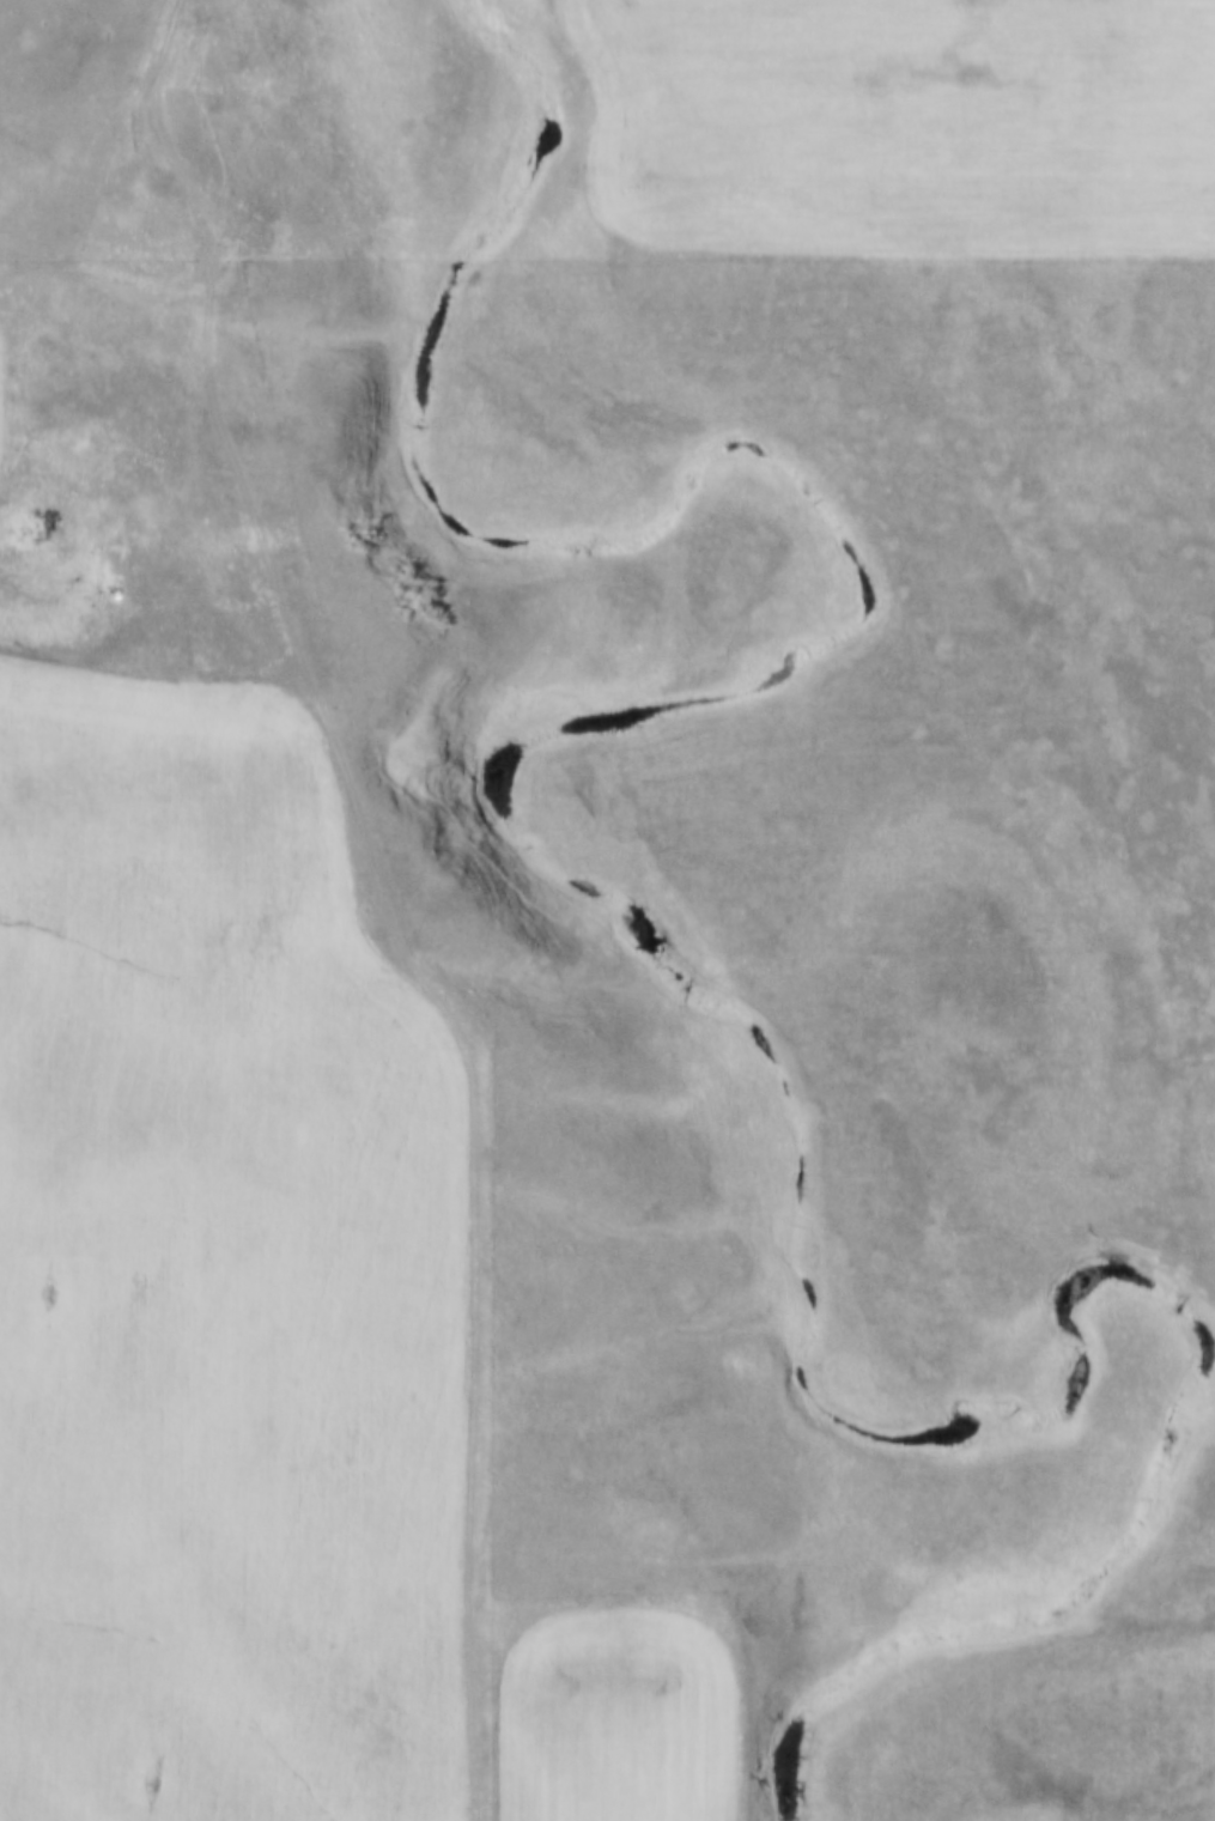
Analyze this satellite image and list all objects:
road: (381, 900)

